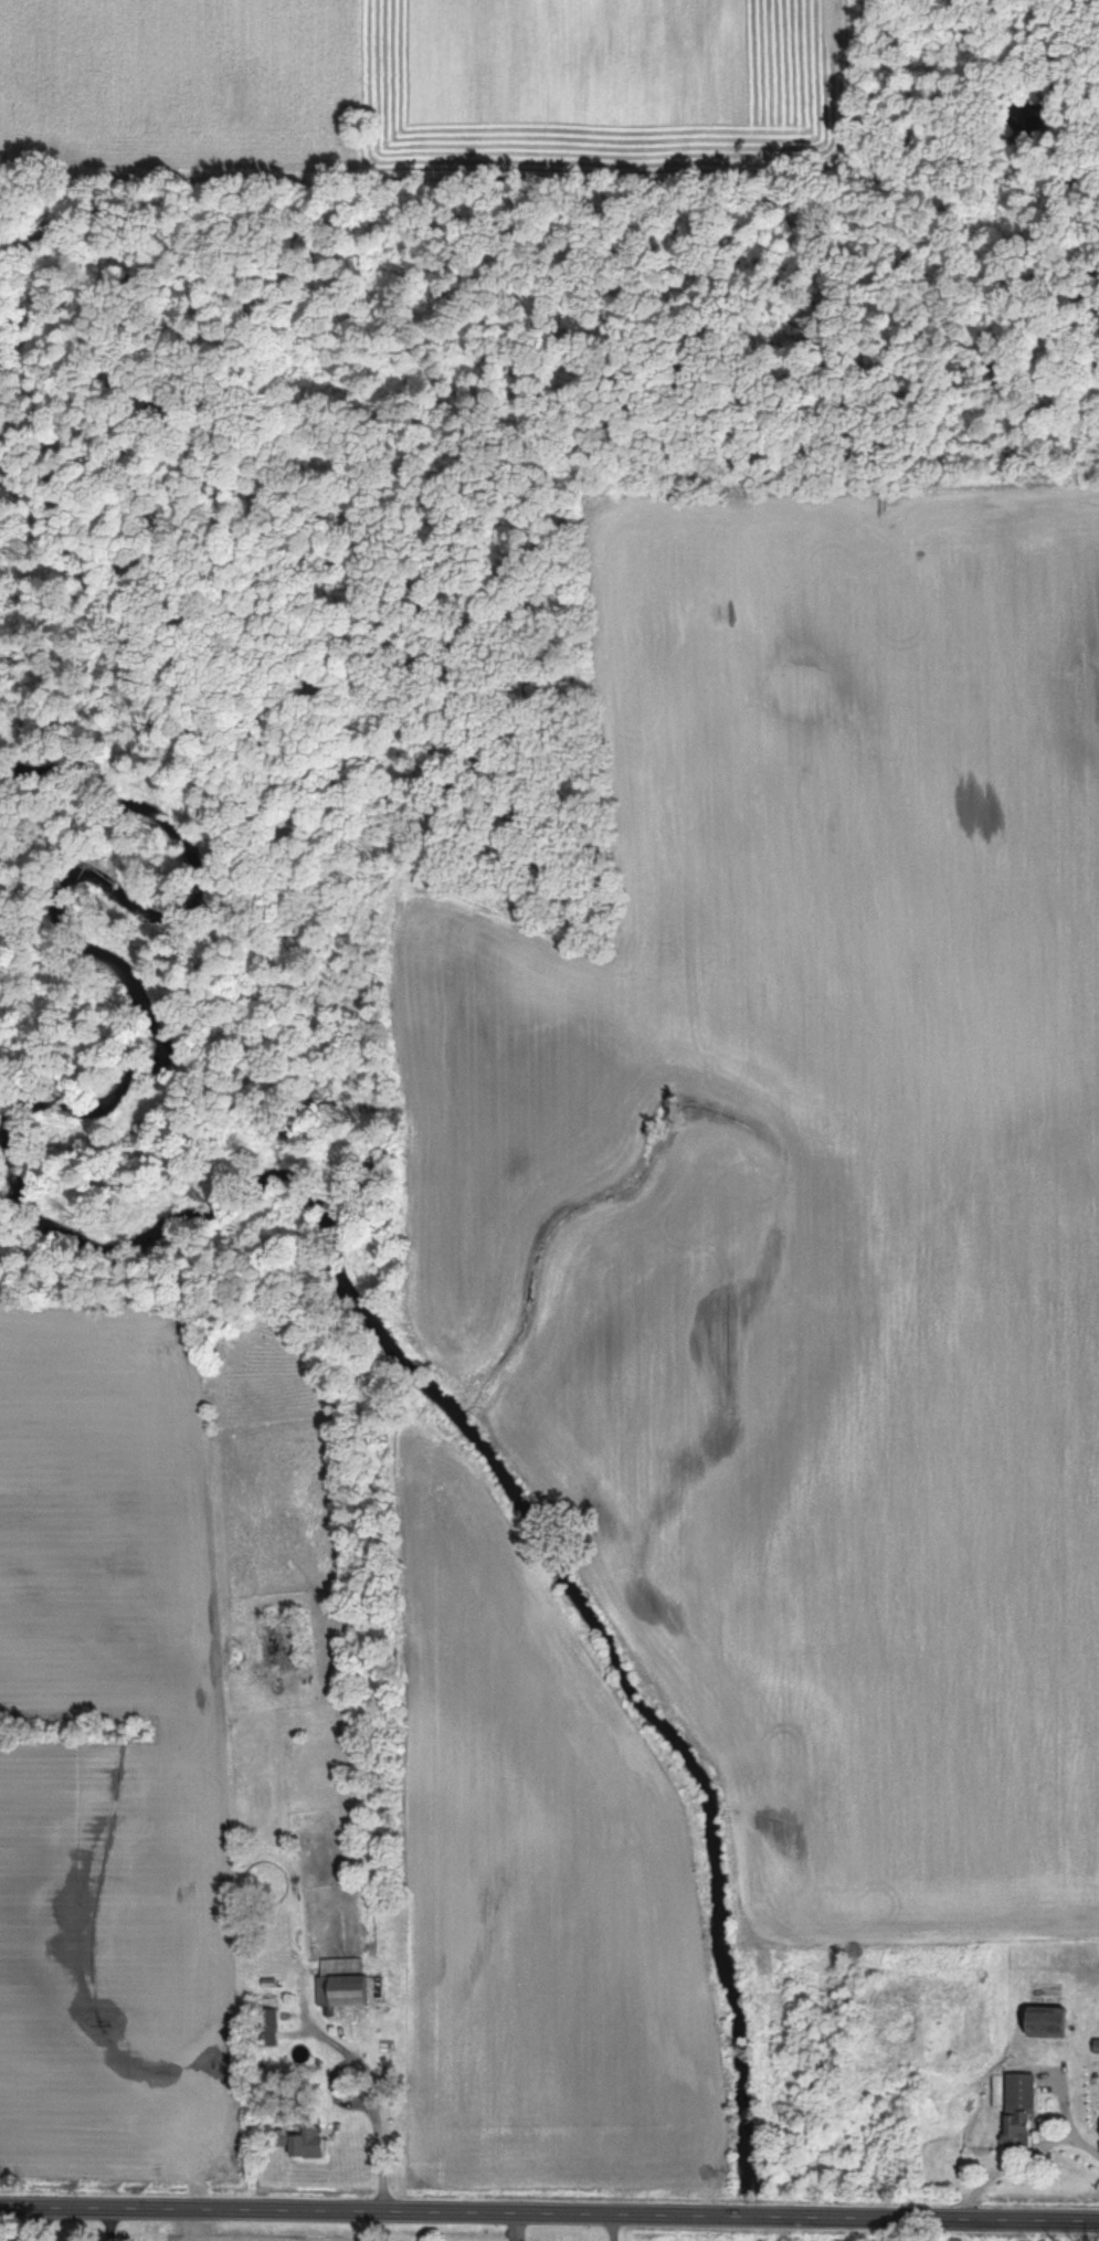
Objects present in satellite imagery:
building: (350, 1988)
building: (1053, 2026)
building: (272, 2031)
road: (376, 2106)
building: (1023, 2113)
building: (311, 2146)
road: (1018, 2158)
road: (549, 2217)

